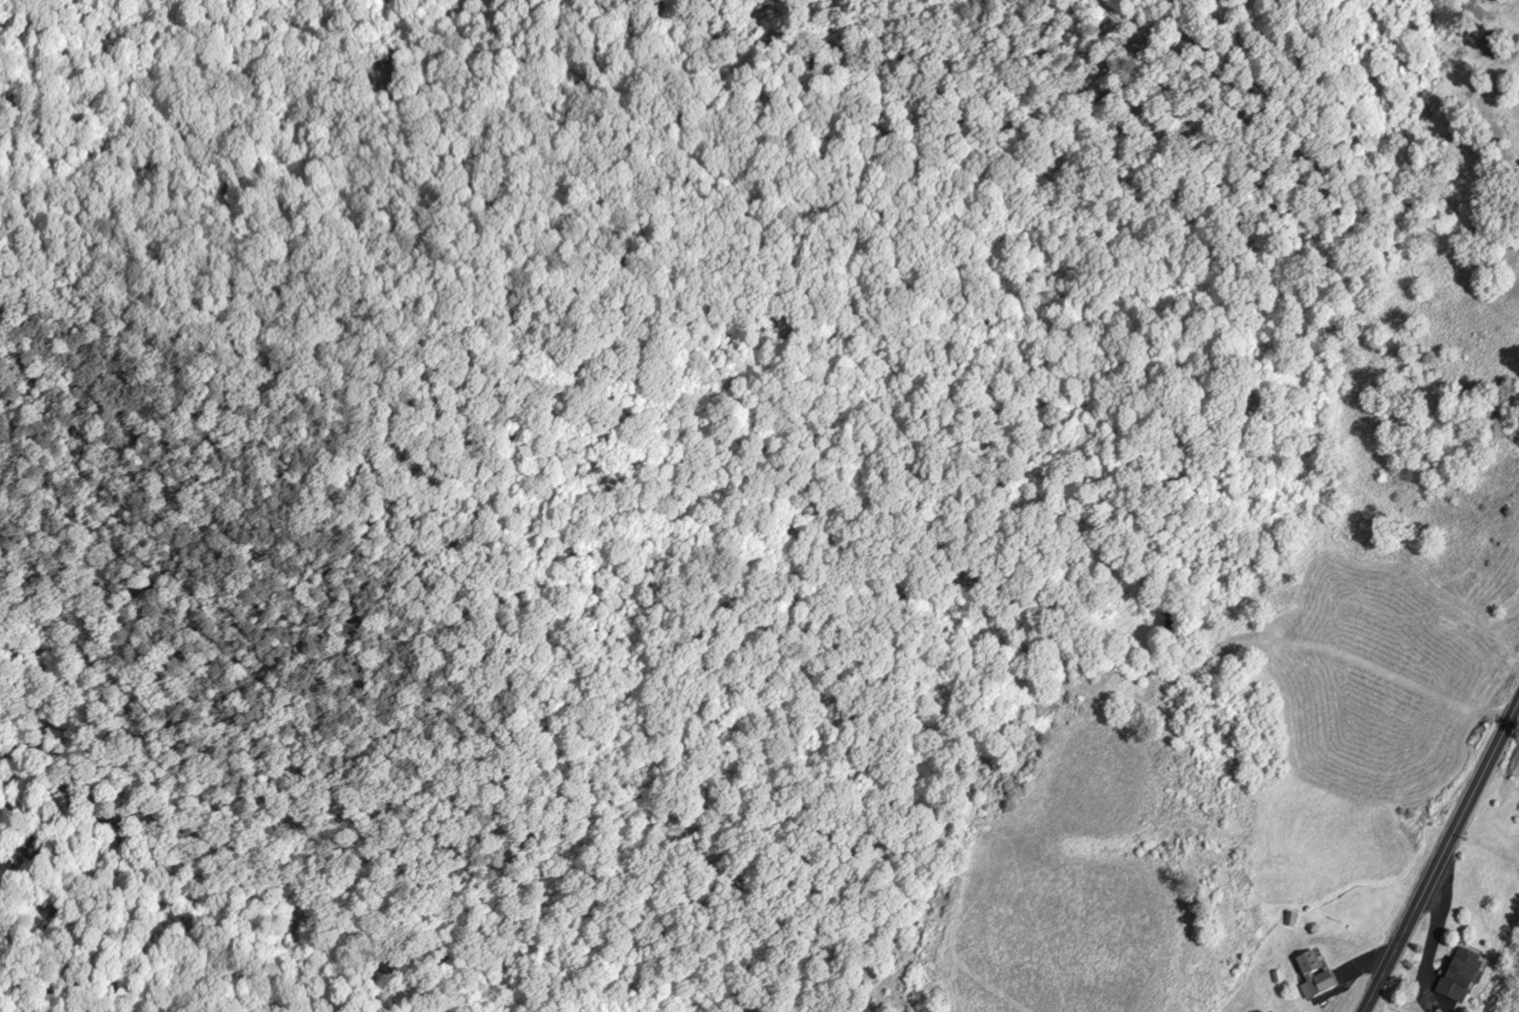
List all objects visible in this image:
road: (1317, 418)
building: (1123, 683)
road: (1441, 856)
building: (1292, 918)
building: (1462, 977)
building: (1278, 978)
building: (1316, 978)

